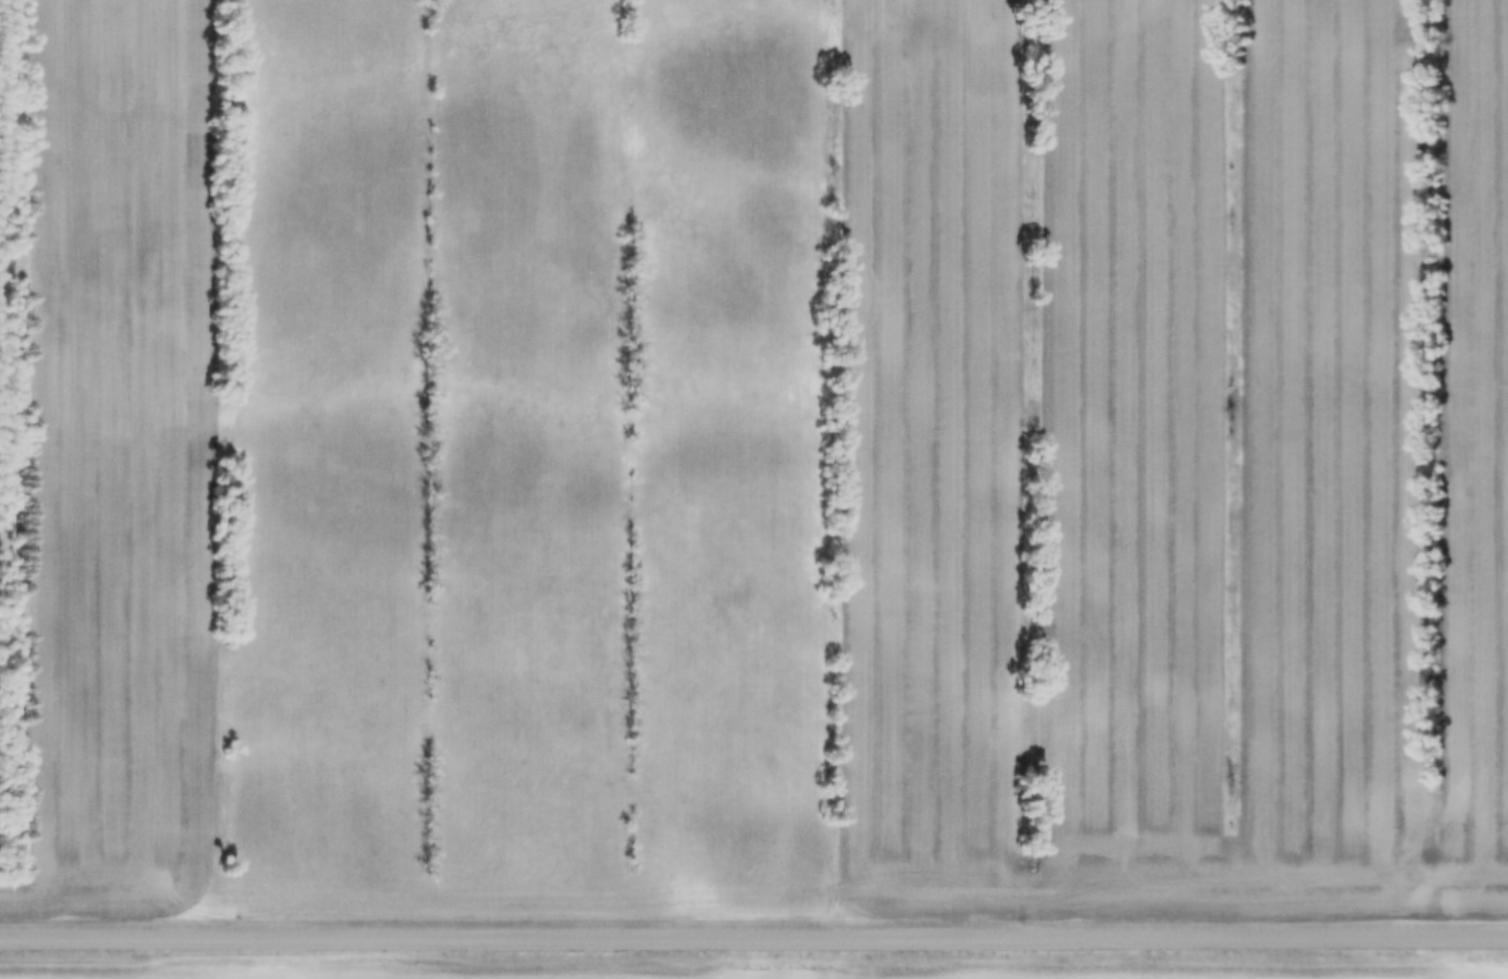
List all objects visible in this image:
road: (754, 936)

